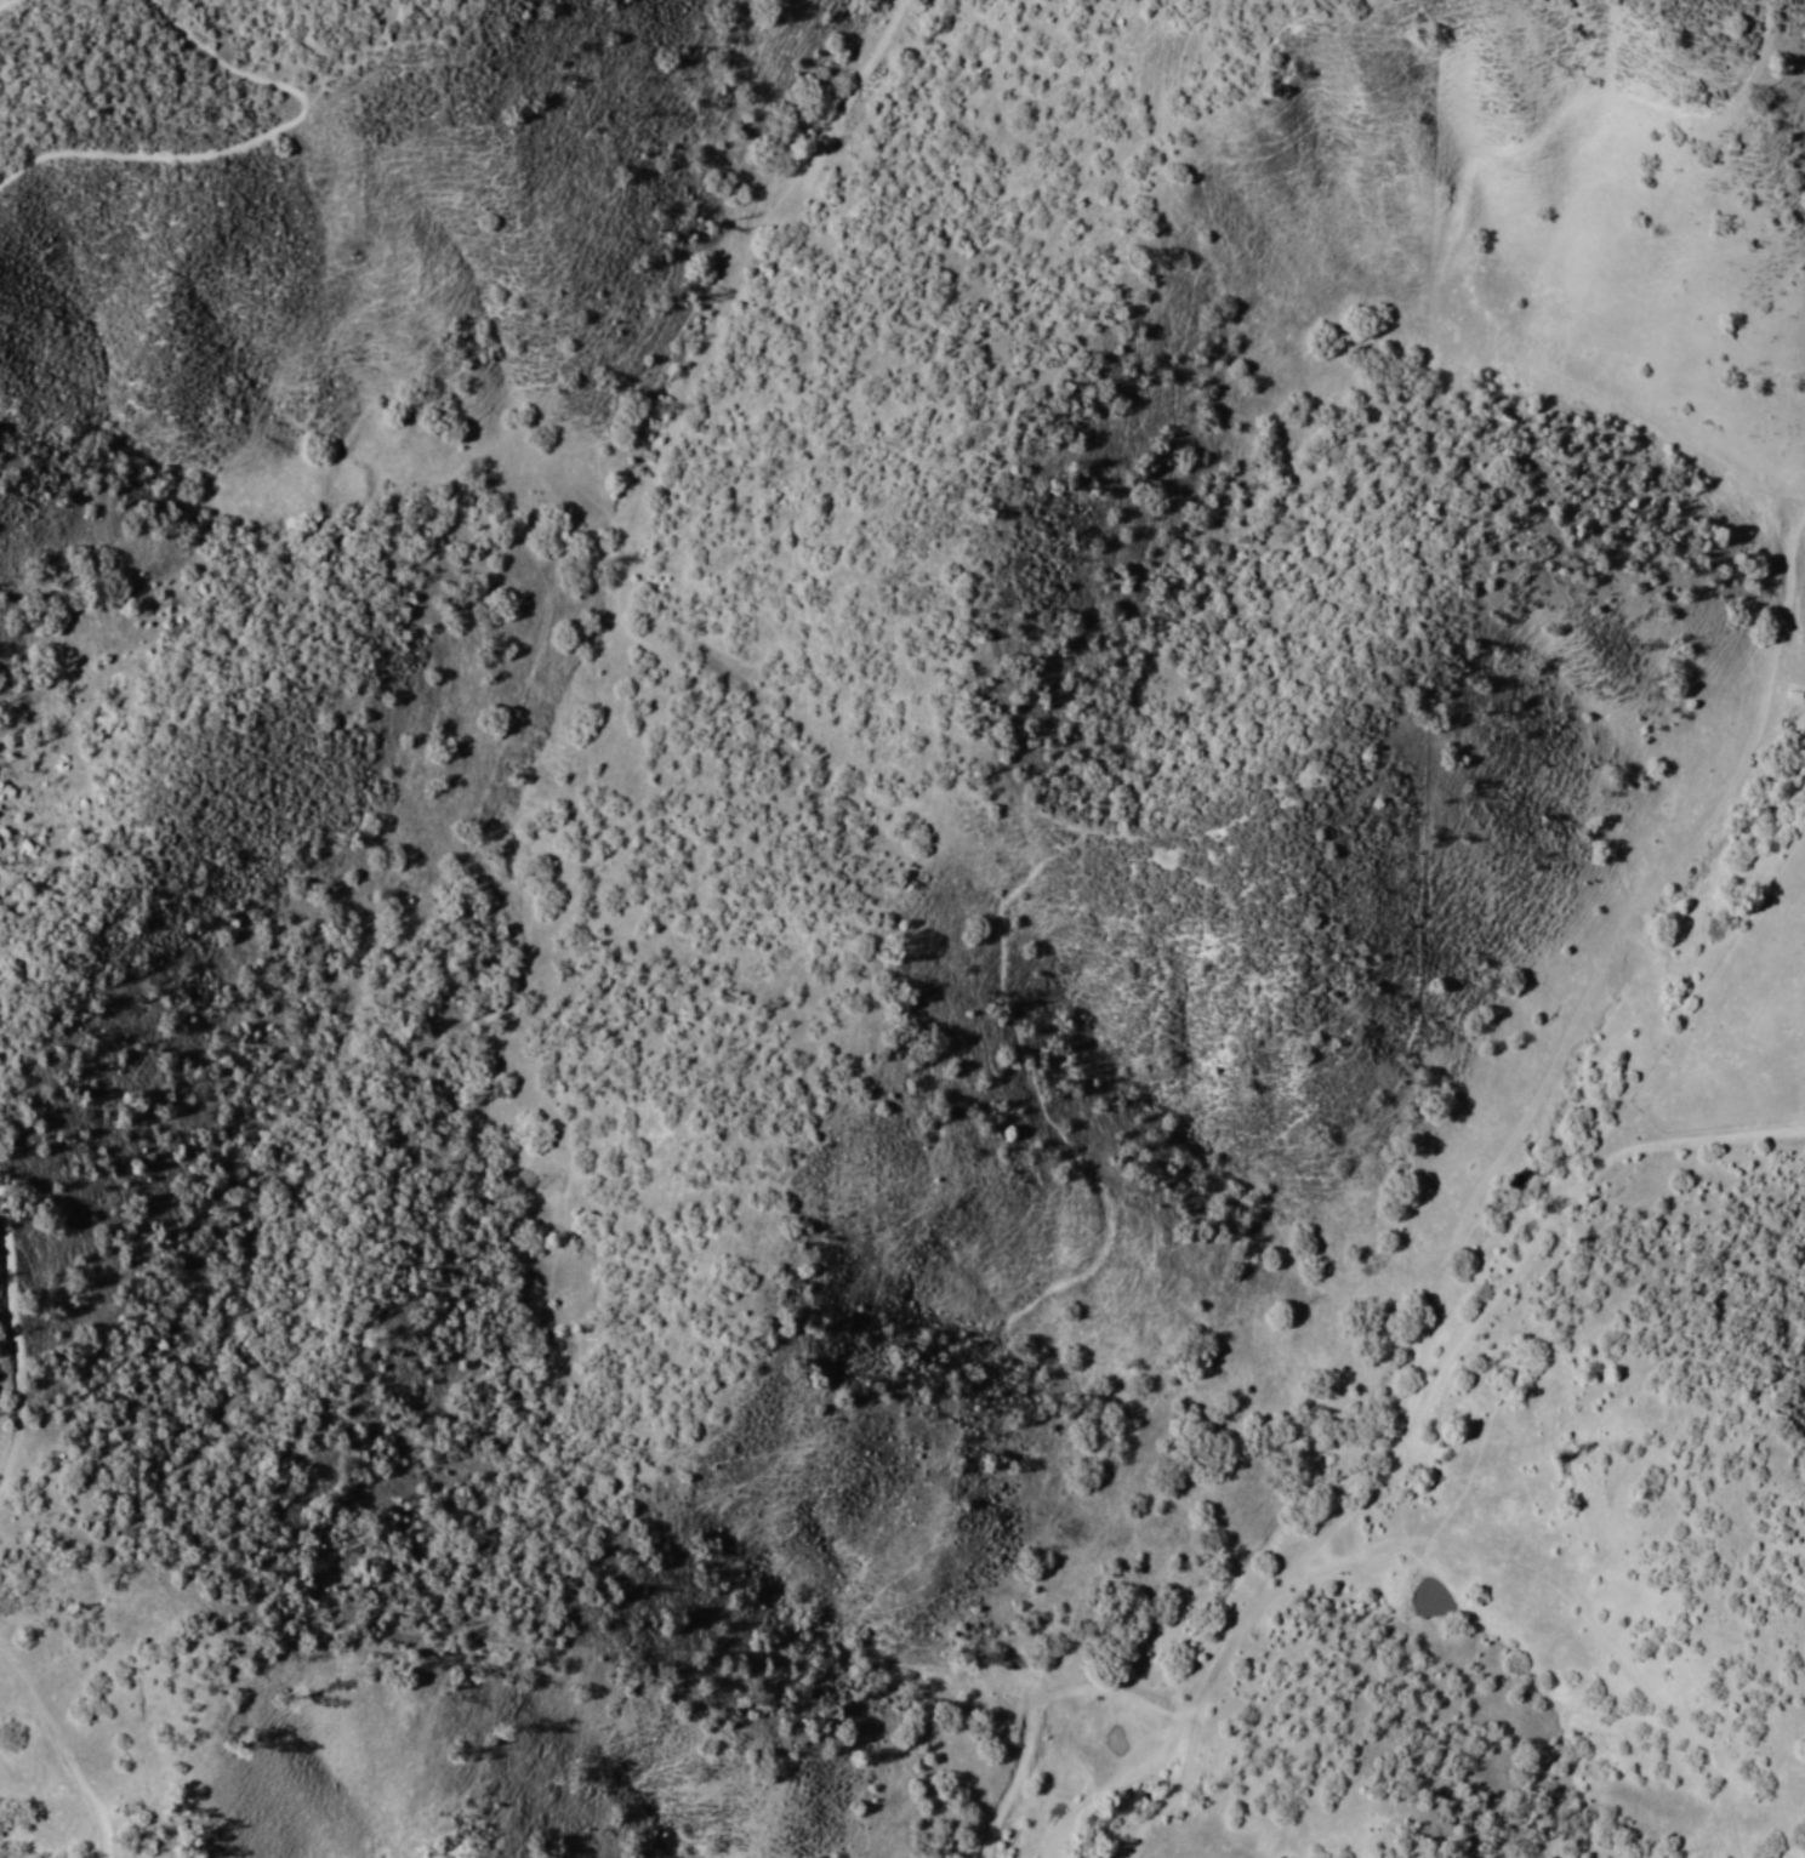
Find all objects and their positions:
crop: (1692, 968)
road: (18, 1339)
road: (66, 1742)

